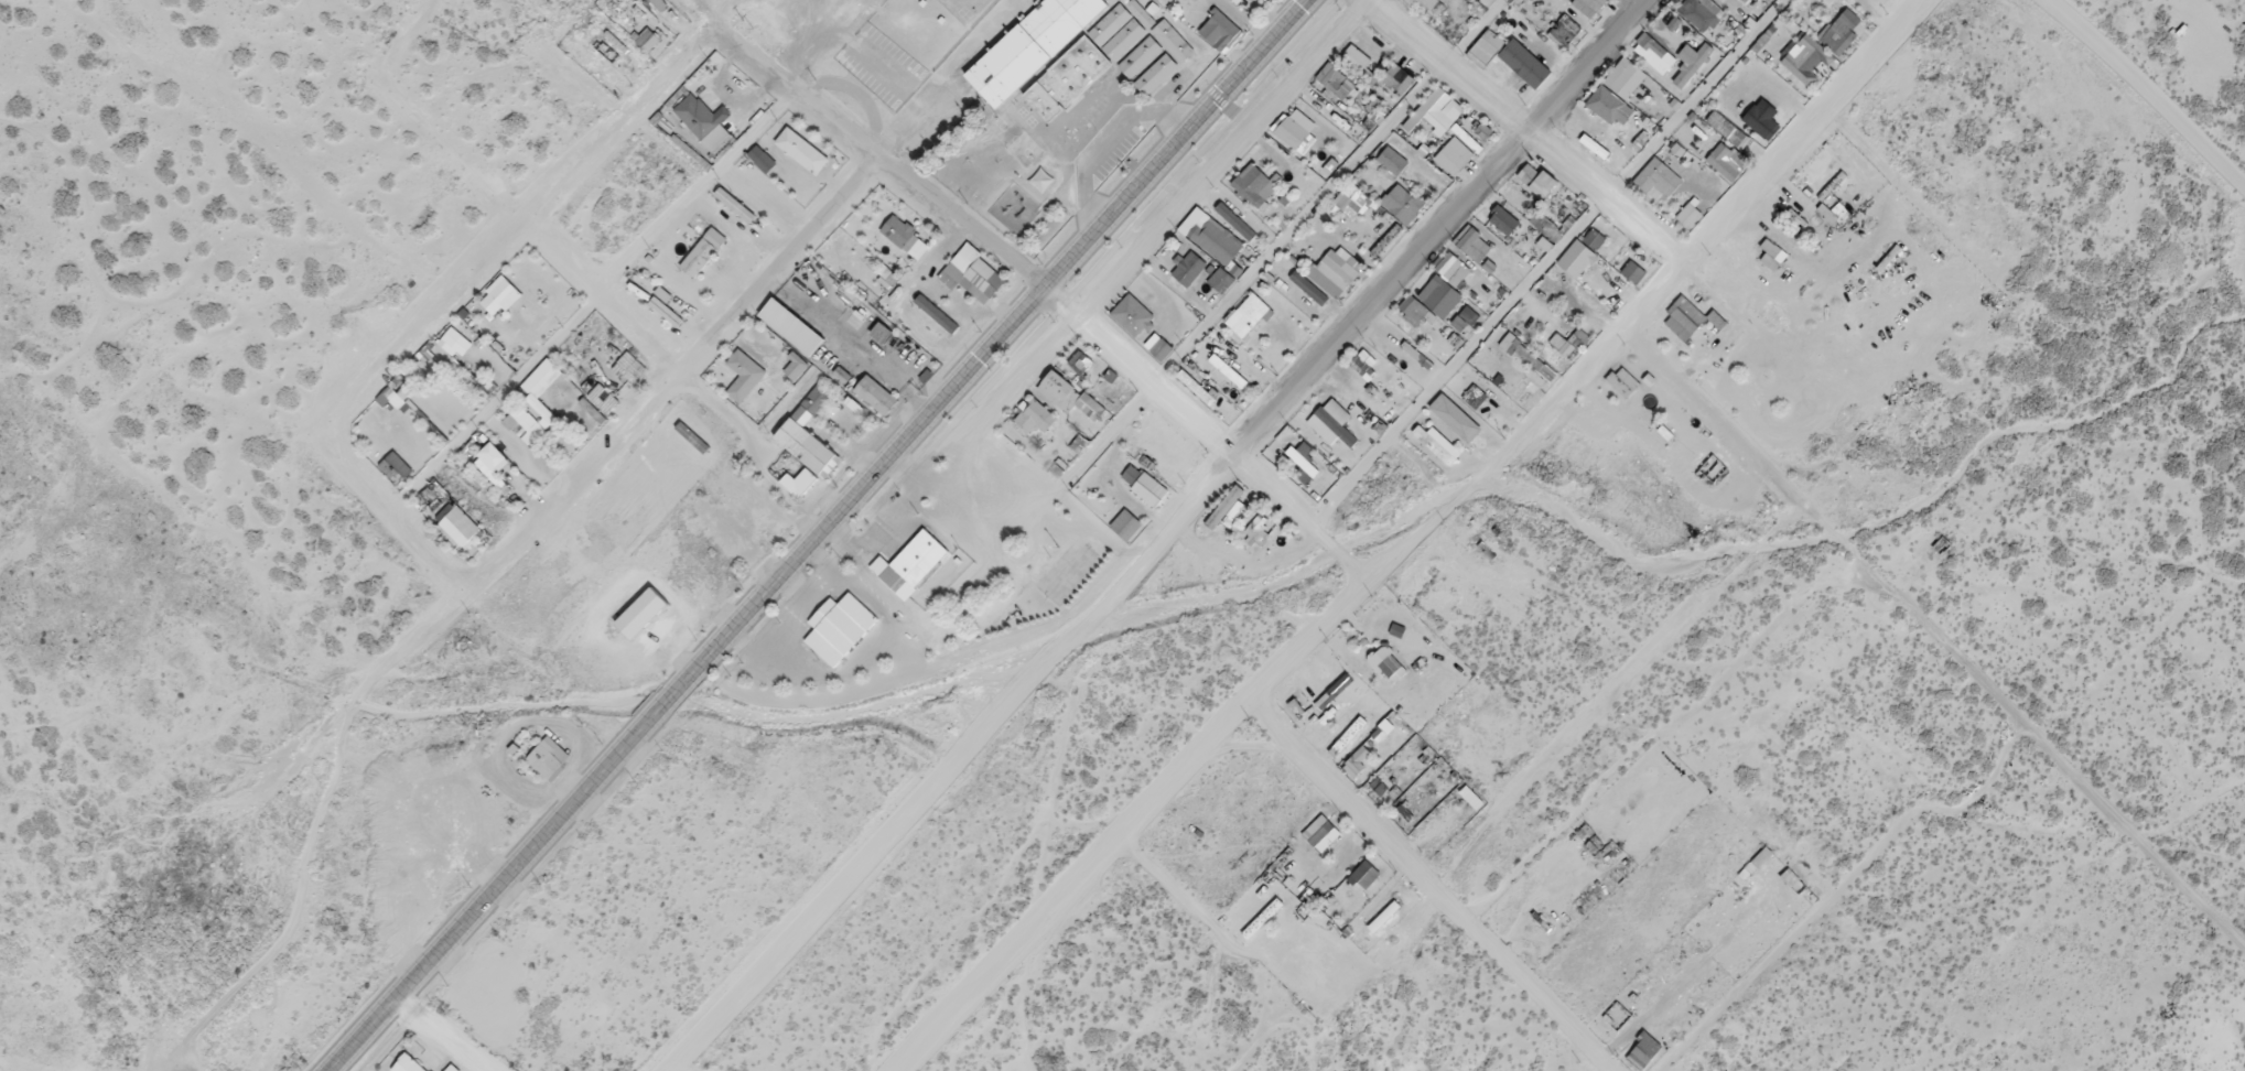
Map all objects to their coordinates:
building: (1240, 0)
building: (1410, 2)
building: (1433, 3)
building: (1219, 28)
building: (1566, 28)
building: (1841, 31)
building: (1487, 45)
building: (1028, 51)
building: (1653, 53)
building: (1357, 57)
building: (1103, 64)
building: (1693, 64)
building: (1399, 77)
building: (1339, 79)
building: (1617, 90)
road: (2148, 93)
building: (1761, 112)
building: (704, 120)
road: (1523, 126)
building: (1292, 130)
building: (802, 149)
road: (856, 150)
building: (1450, 158)
building: (1392, 159)
road: (1224, 164)
building: (1659, 177)
building: (1542, 178)
road: (1326, 193)
building: (1503, 218)
road: (1435, 228)
building: (905, 237)
road: (509, 238)
building: (1593, 238)
building: (1217, 239)
building: (1475, 242)
building: (703, 251)
road: (1548, 263)
building: (1190, 266)
building: (1632, 270)
building: (984, 275)
building: (1222, 277)
building: (1596, 282)
building: (1442, 293)
building: (499, 294)
building: (1585, 297)
road: (597, 299)
road: (585, 311)
building: (1133, 312)
building: (1248, 312)
building: (1684, 315)
building: (1530, 355)
building: (1081, 360)
building: (1229, 368)
building: (745, 372)
building: (1623, 380)
building: (1196, 385)
building: (1525, 389)
building: (1069, 391)
building: (1476, 391)
building: (876, 392)
building: (1457, 412)
building: (1338, 418)
building: (808, 430)
road: (1200, 432)
road: (611, 439)
building: (1439, 440)
building: (1304, 458)
building: (1145, 482)
building: (1129, 521)
road: (381, 523)
building: (460, 524)
road: (1404, 530)
road: (822, 537)
building: (908, 572)
building: (635, 619)
building: (832, 637)
building: (1384, 660)
building: (1349, 735)
building: (1358, 757)
road: (950, 765)
building: (1366, 870)
road: (1428, 884)
road: (441, 1036)
building: (1645, 1045)
building: (409, 1063)
building: (452, 1068)
road: (674, 1069)

